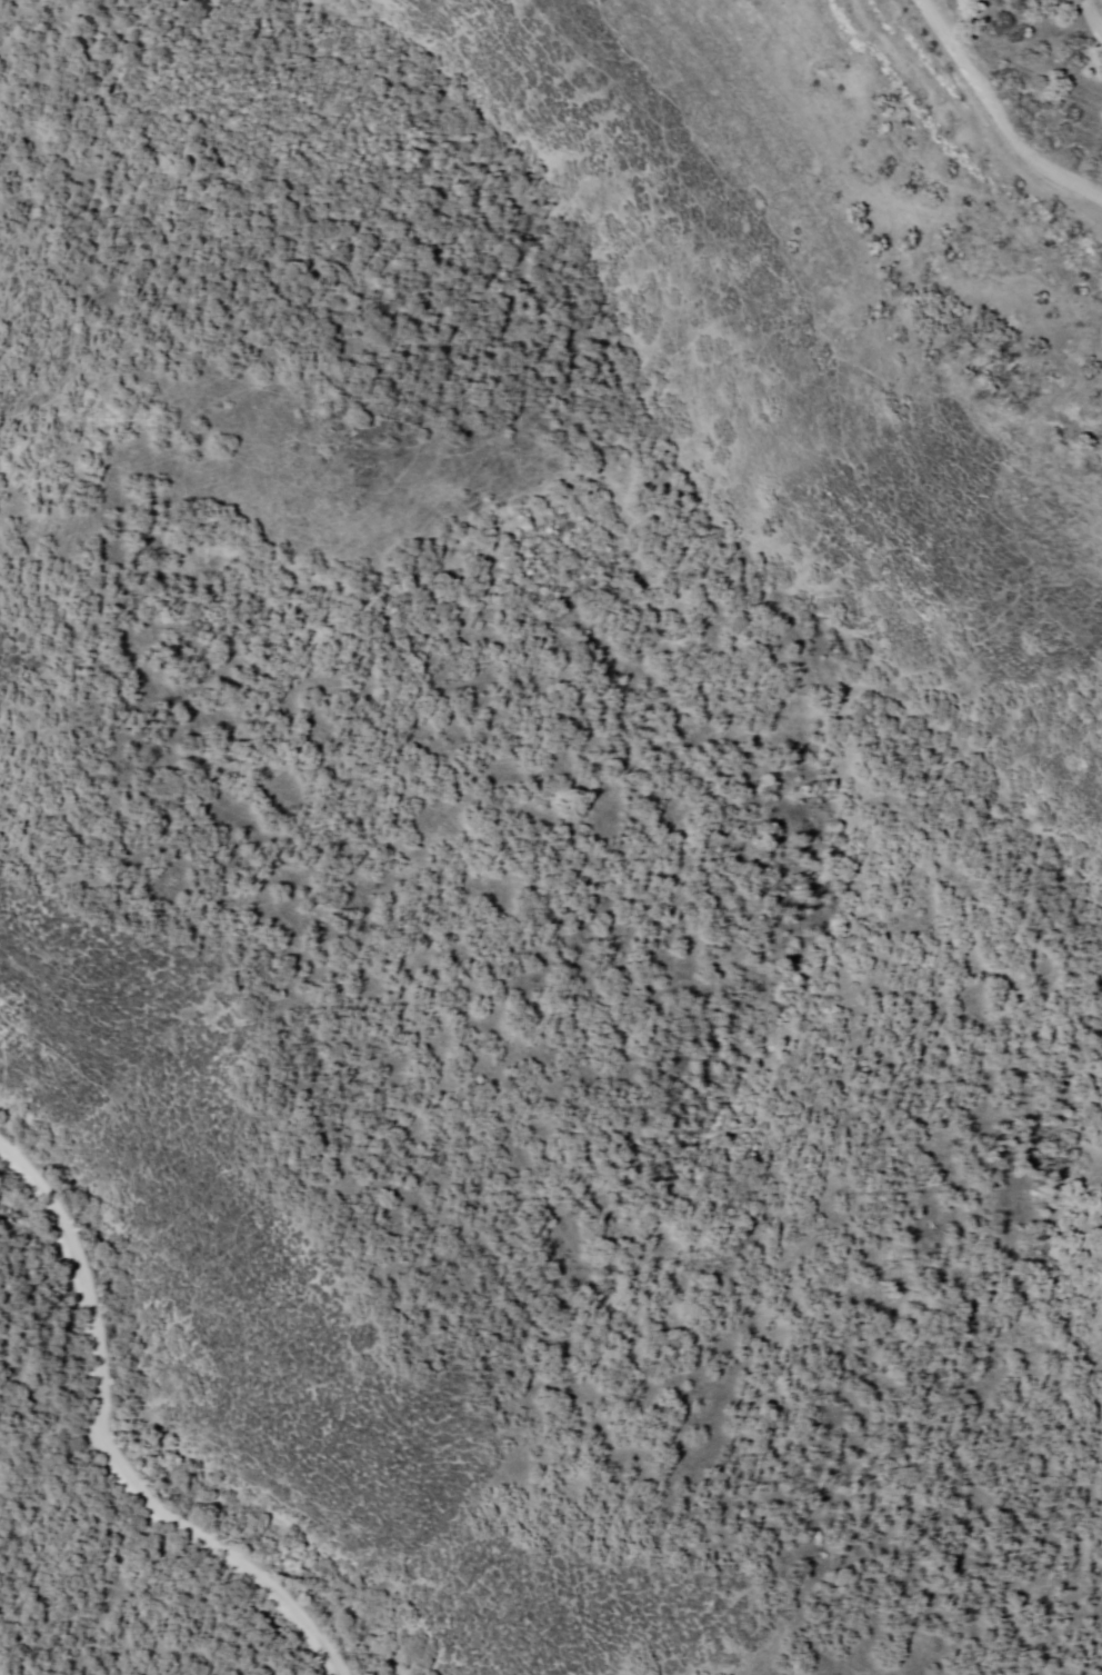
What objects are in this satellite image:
road: (1092, 19)
road: (107, 1448)

